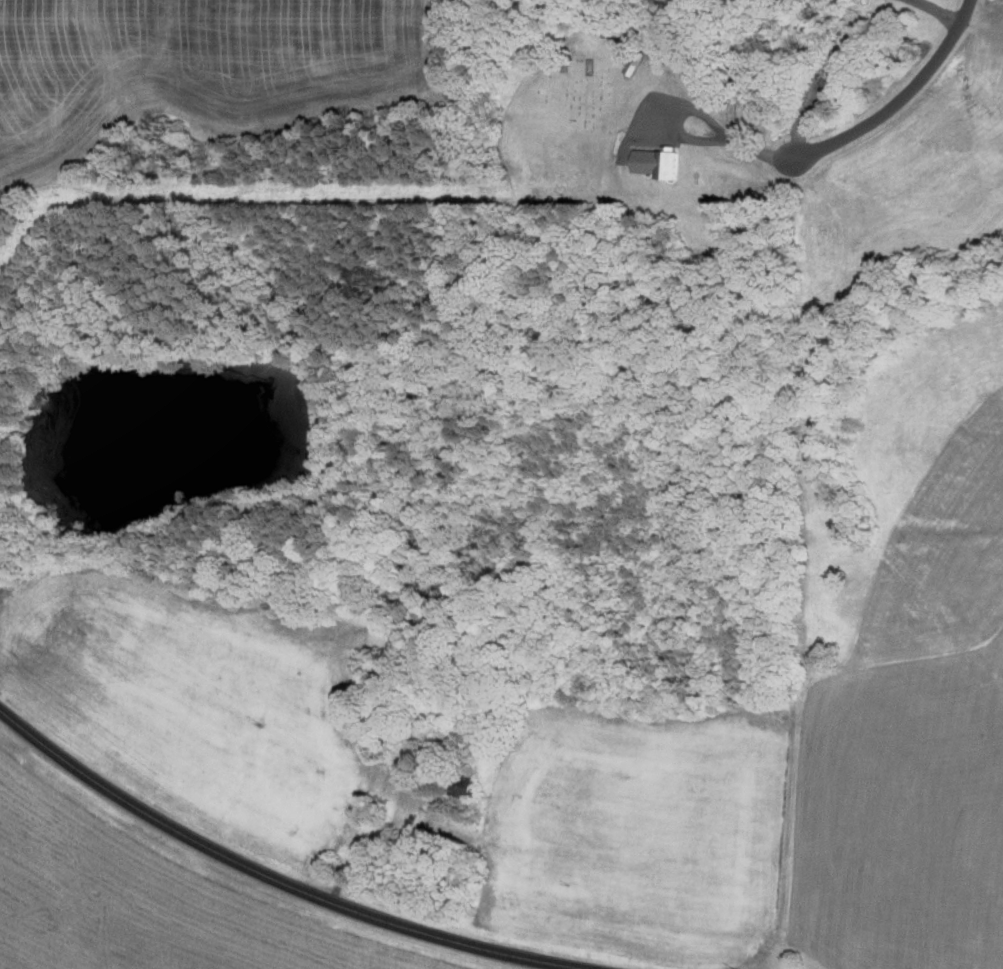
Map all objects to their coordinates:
park: (612, 88)
road: (869, 122)
building: (660, 162)
road: (276, 877)

